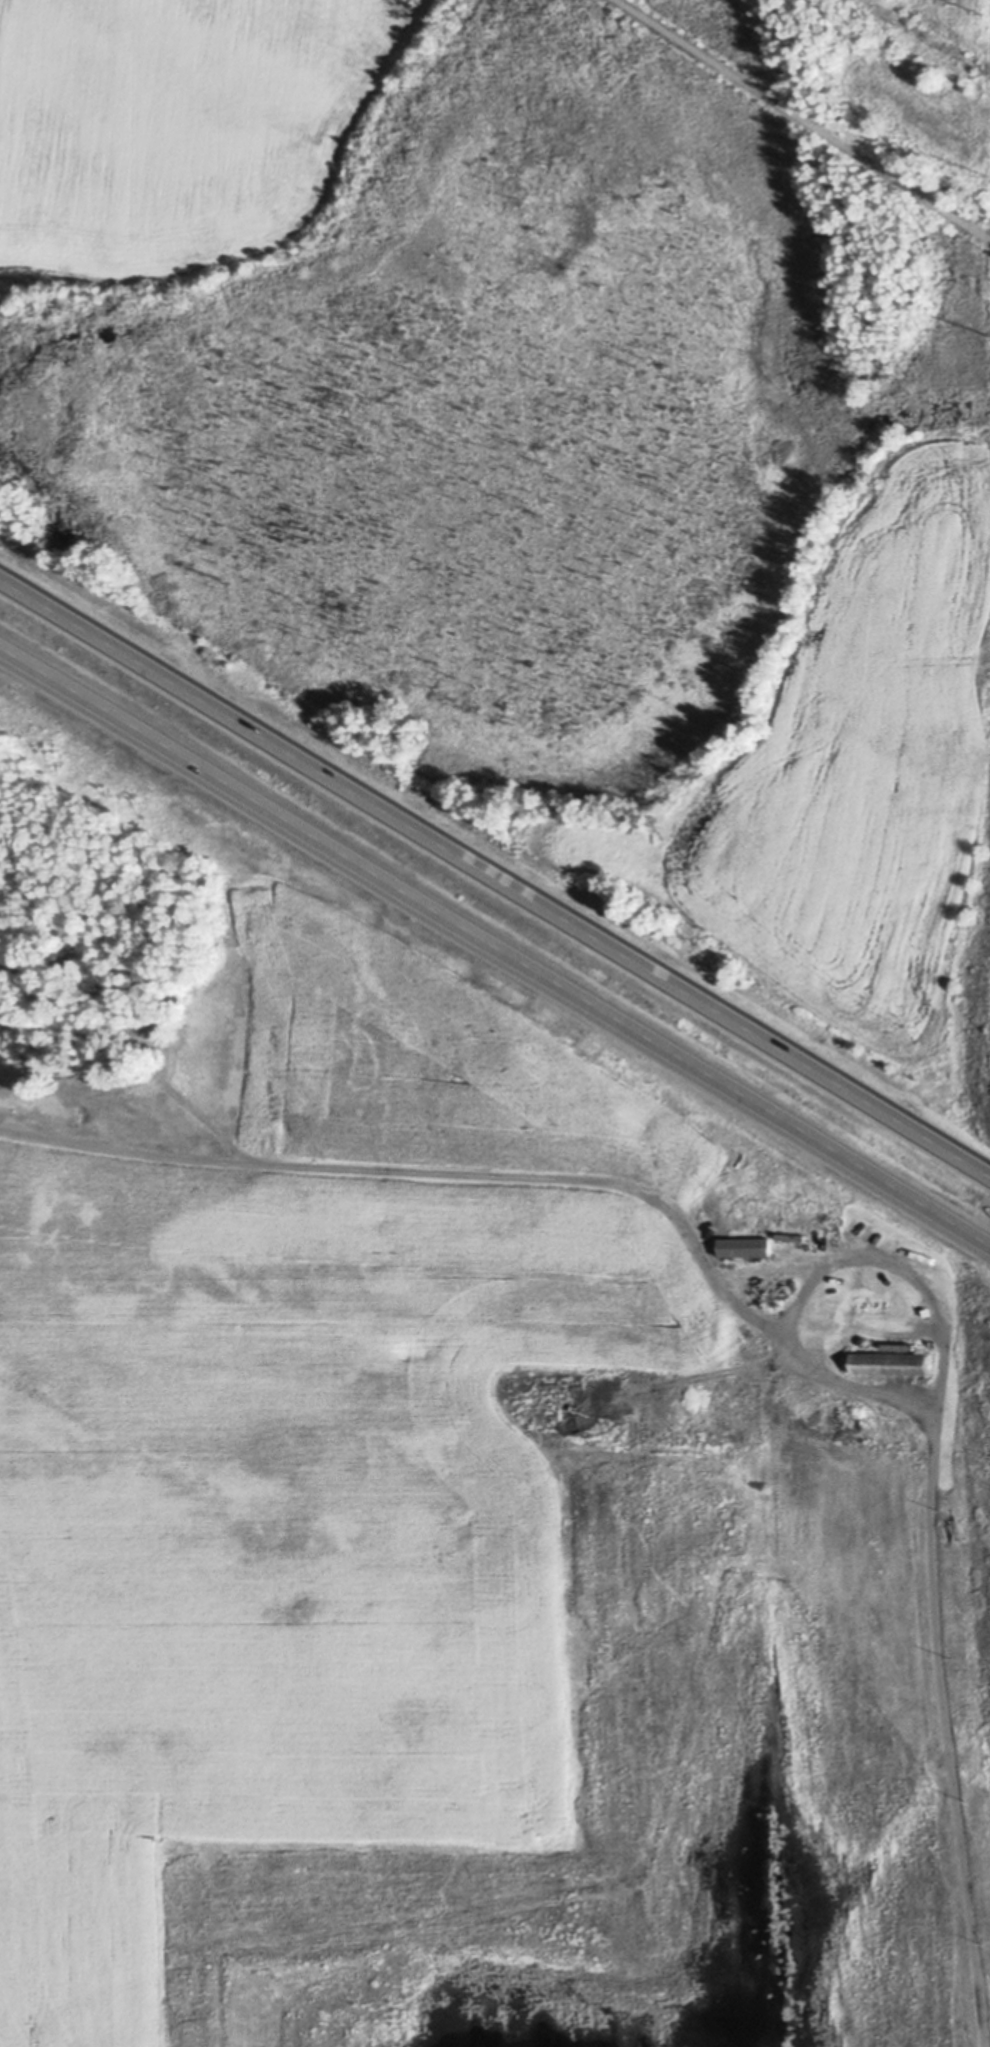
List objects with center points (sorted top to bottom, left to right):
road: (925, 36)
road: (801, 119)
road: (495, 874)
road: (495, 948)
building: (741, 1247)
road: (757, 1322)
building: (888, 1364)

